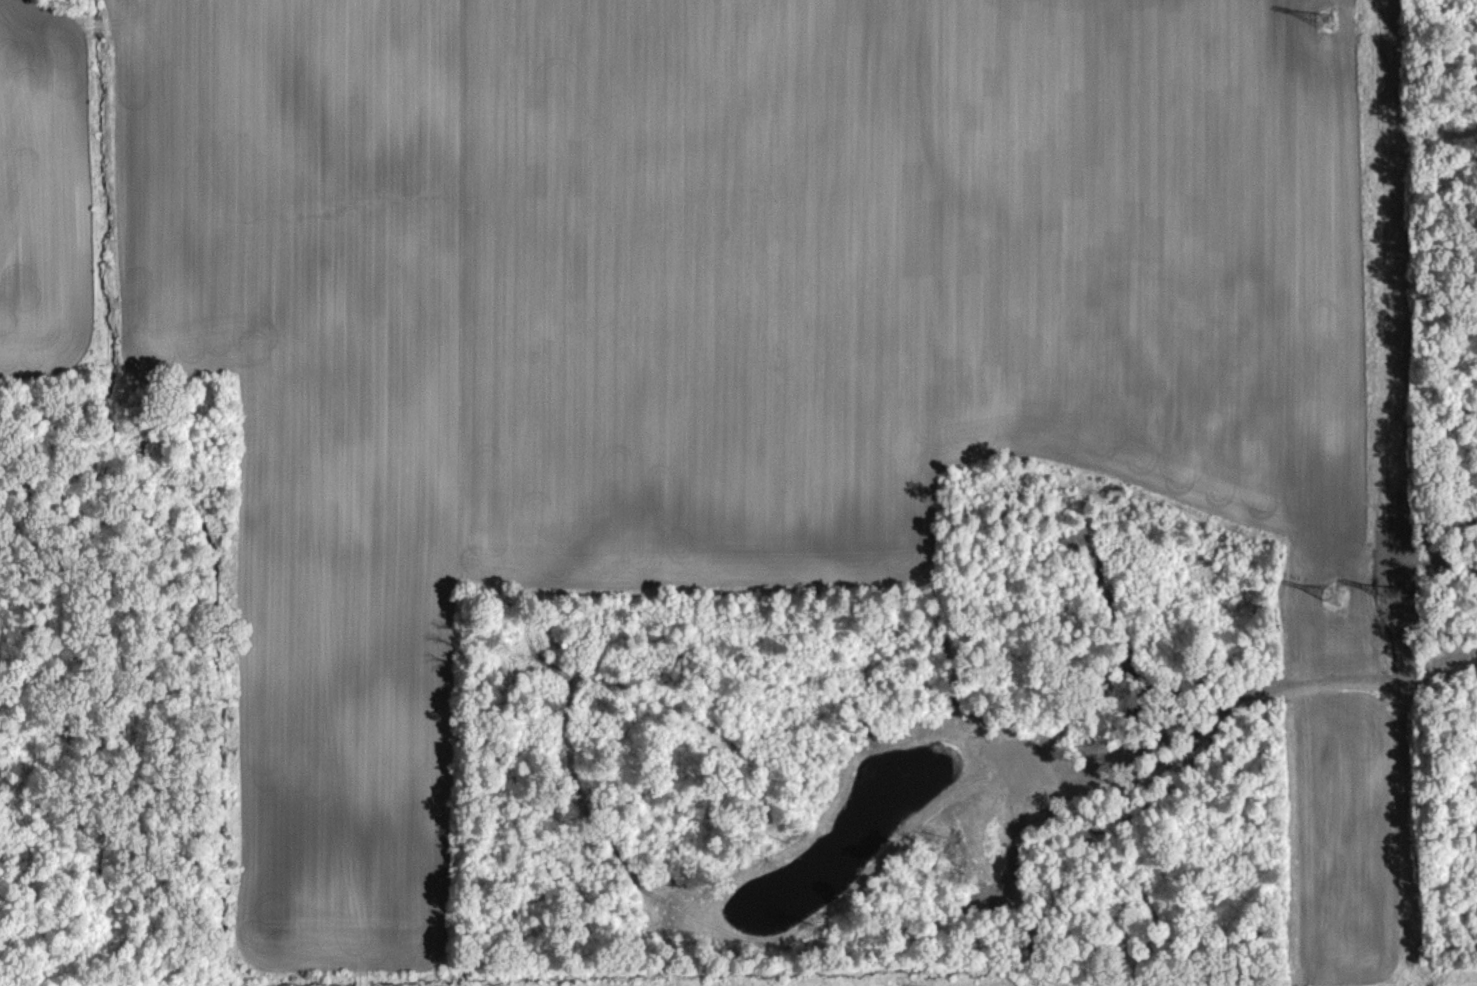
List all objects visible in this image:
power tower: (1326, 20)
power tower: (1395, 591)
power tower: (1332, 594)

